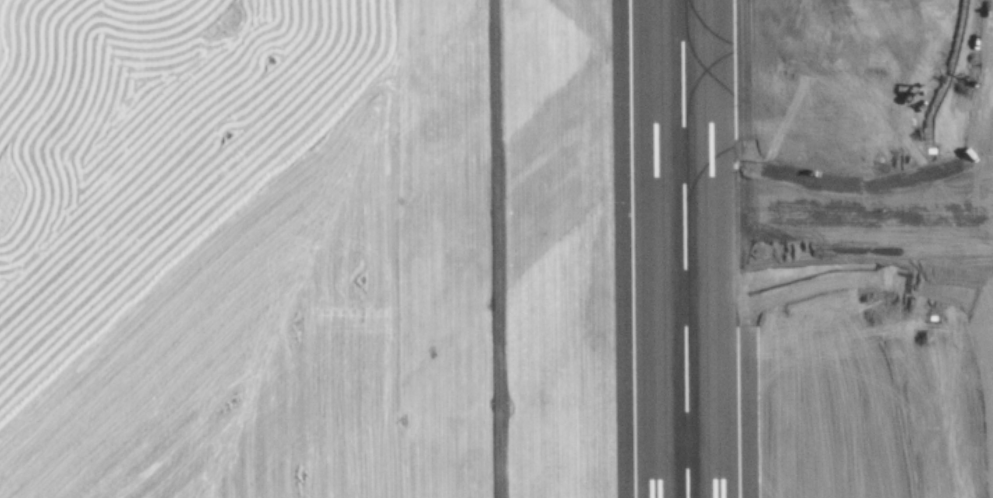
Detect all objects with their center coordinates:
crop: (891, 5)
airport taxiway: (827, 49)
airport taxiway: (699, 76)
crop: (922, 138)
crop: (149, 144)
airport taxiway: (722, 152)
airport taxiway: (818, 176)
airport runway: (682, 248)
airport runway: (752, 248)
airport: (496, 249)
road: (498, 249)
crop: (507, 249)
airport runway: (611, 249)
crop: (249, 348)
crop: (860, 380)

